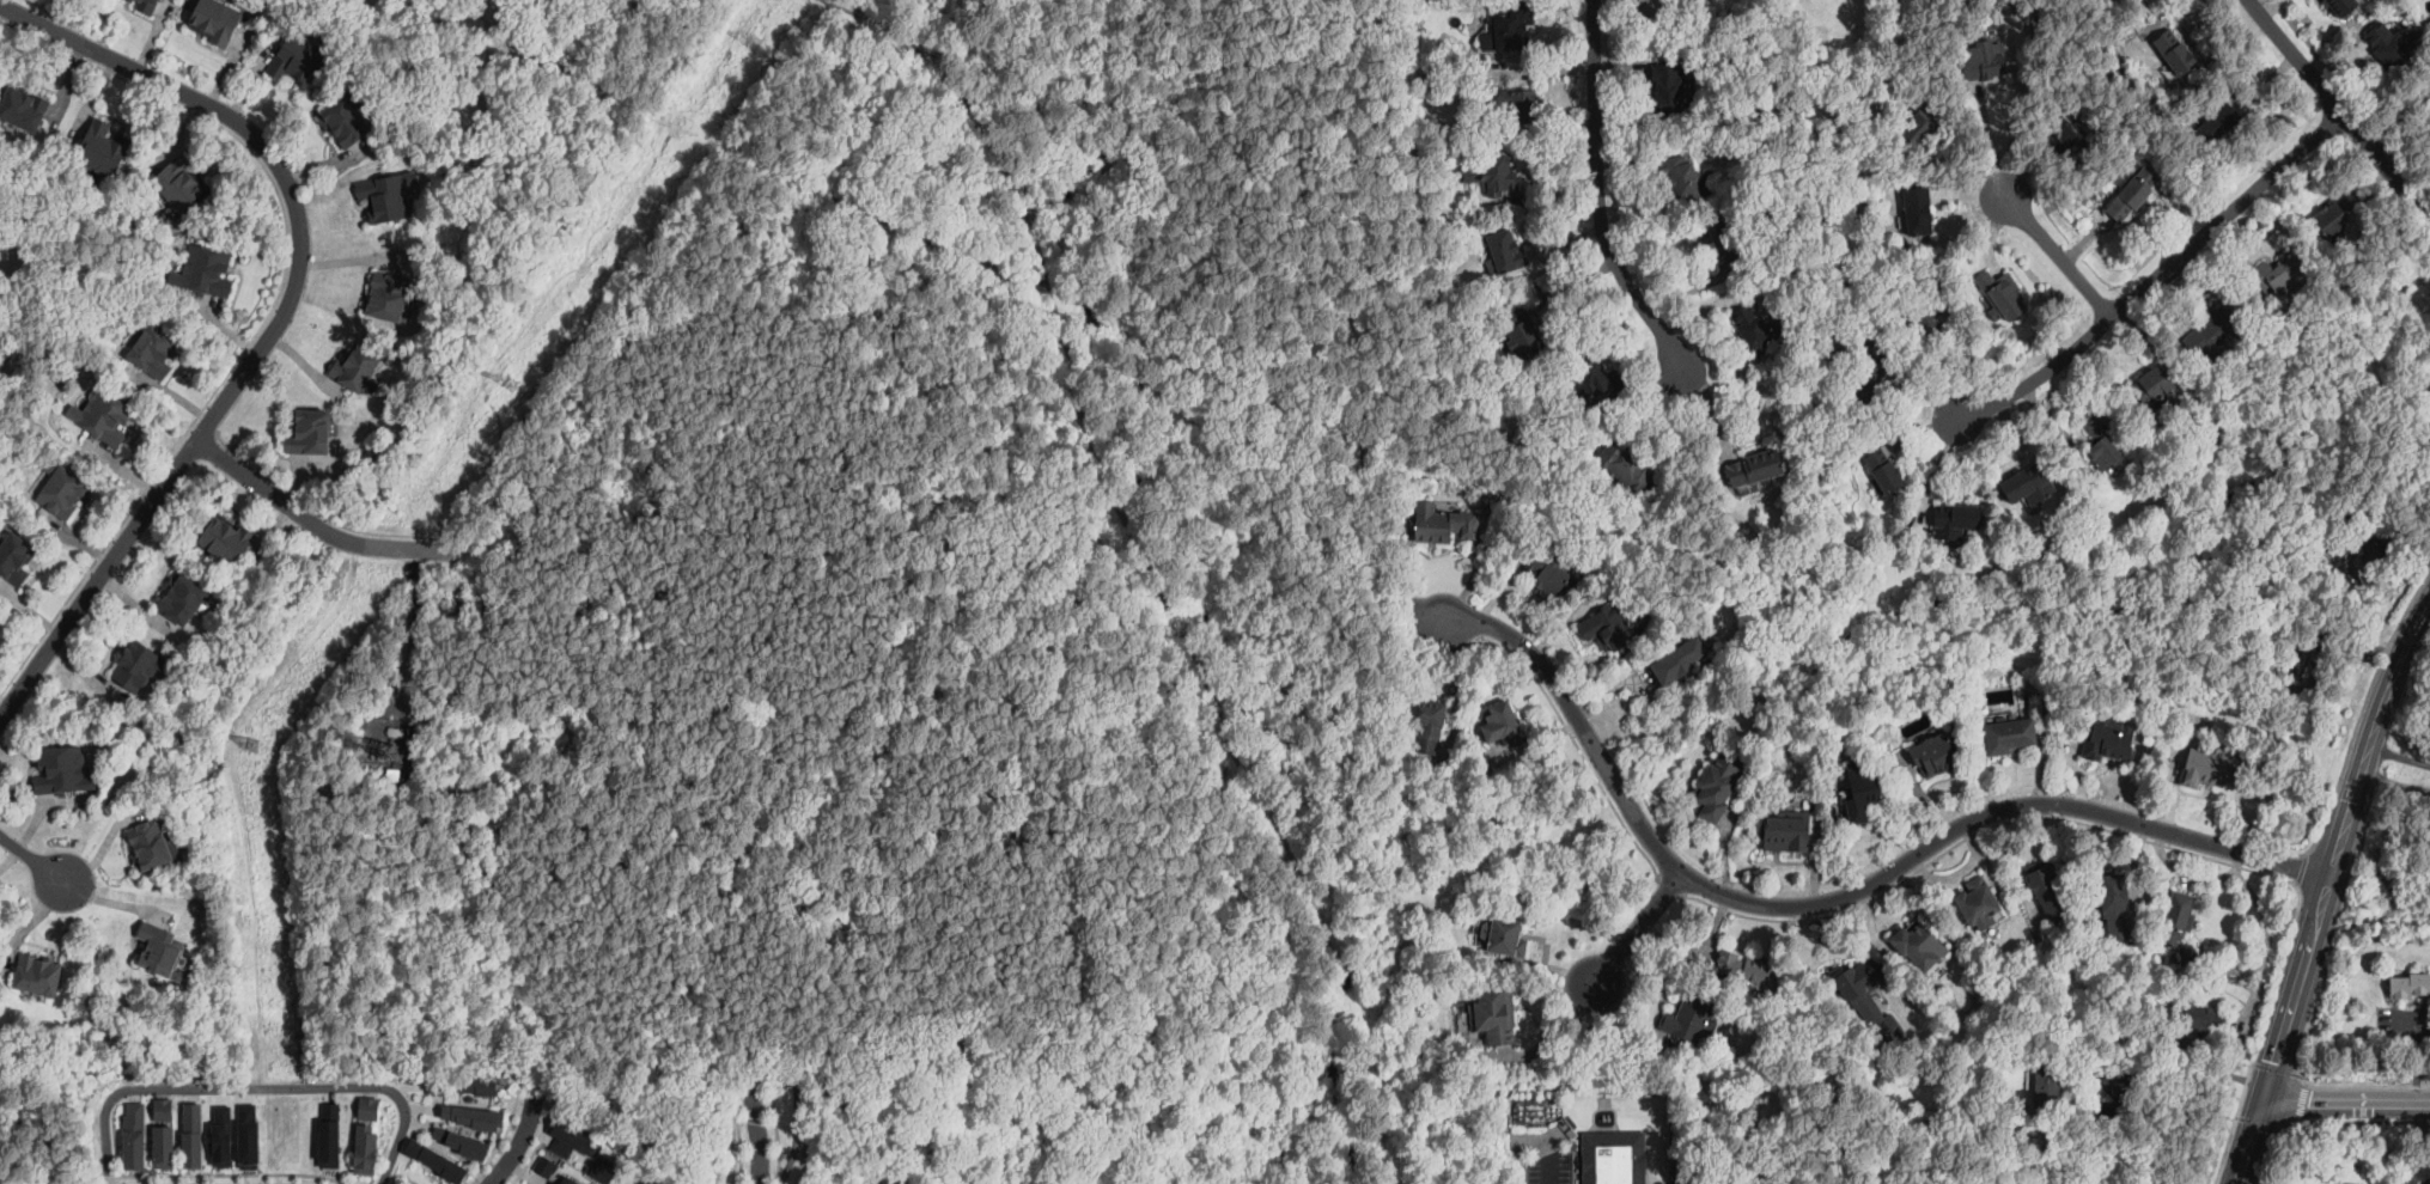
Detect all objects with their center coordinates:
building: (139, 5)
building: (152, 6)
building: (2344, 7)
building: (215, 25)
building: (1514, 30)
building: (2416, 31)
power tower: (755, 42)
building: (2389, 48)
building: (2174, 53)
building: (297, 61)
building: (1980, 61)
building: (1673, 89)
building: (1512, 102)
building: (24, 109)
road: (2340, 109)
building: (342, 121)
building: (1924, 124)
building: (2216, 124)
building: (2070, 133)
road: (1989, 140)
building: (105, 144)
building: (1493, 175)
building: (1681, 181)
building: (176, 187)
building: (2128, 195)
road: (1601, 196)
building: (391, 199)
road: (877, 207)
building: (1918, 210)
building: (2335, 214)
building: (1719, 237)
building: (1504, 254)
road: (2059, 255)
building: (205, 268)
road: (2157, 274)
building: (2276, 274)
building: (2002, 293)
building: (388, 294)
road: (269, 317)
road: (280, 318)
building: (1925, 318)
building: (1755, 329)
building: (1519, 331)
building: (2216, 332)
building: (153, 354)
building: (357, 368)
building: (1592, 378)
road: (1910, 379)
power tower: (507, 385)
building: (2151, 386)
building: (1864, 387)
building: (102, 420)
building: (307, 433)
building: (2428, 438)
building: (2101, 446)
building: (1624, 468)
road: (1936, 468)
building: (1884, 470)
building: (1755, 471)
building: (2028, 484)
building: (63, 494)
road: (318, 512)
building: (1955, 521)
road: (317, 525)
building: (1444, 525)
road: (1139, 533)
building: (230, 542)
road: (812, 544)
building: (13, 560)
building: (2362, 563)
building: (1549, 575)
building: (181, 597)
building: (2302, 606)
building: (1767, 611)
building: (1608, 628)
building: (1680, 660)
building: (2304, 669)
road: (2395, 673)
building: (132, 677)
road: (1132, 681)
road: (1297, 719)
road: (1579, 721)
building: (1500, 722)
building: (1427, 724)
building: (395, 732)
building: (2009, 736)
building: (2107, 739)
power tower: (250, 744)
road: (1578, 746)
building: (376, 755)
building: (391, 755)
building: (1935, 755)
road: (2400, 755)
building: (2206, 769)
building: (67, 770)
road: (2335, 788)
building: (1716, 789)
building: (1862, 789)
road: (1993, 811)
road: (2350, 811)
building: (1788, 831)
road: (1966, 841)
building: (150, 844)
road: (32, 860)
building: (1491, 880)
building: (2047, 891)
road: (2324, 898)
building: (1975, 904)
building: (2113, 905)
building: (2178, 927)
road: (1637, 929)
building: (1504, 938)
building: (1919, 945)
building: (163, 947)
building: (1748, 970)
building: (43, 977)
building: (2408, 985)
building: (1859, 990)
road: (2290, 1009)
building: (1496, 1014)
building: (2198, 1014)
building: (1691, 1020)
building: (1753, 1049)
road: (2420, 1049)
road: (2277, 1070)
building: (2111, 1084)
road: (252, 1085)
building: (468, 1086)
road: (2358, 1086)
building: (2047, 1088)
road: (2243, 1097)
road: (2303, 1101)
building: (166, 1104)
traffic signals: (2262, 1104)
road: (2346, 1104)
building: (370, 1105)
road: (2179, 1107)
road: (1183, 1109)
building: (481, 1117)
road: (759, 1121)
road: (2351, 1121)
road: (2258, 1122)
building: (244, 1129)
building: (328, 1129)
road: (776, 1129)
building: (195, 1130)
building: (219, 1130)
road: (759, 1130)
building: (136, 1131)
road: (742, 1136)
road: (797, 1139)
building: (166, 1141)
building: (465, 1142)
road: (519, 1143)
road: (2248, 1143)
road: (1546, 1146)
building: (367, 1147)
road: (1287, 1149)
building: (587, 1151)
building: (1711, 1152)
parking lot: (1546, 1155)
building: (1614, 1156)
building: (444, 1164)
road: (226, 1167)
road: (1284, 1170)
building: (555, 1171)
road: (345, 1183)
building: (2340, 1183)

